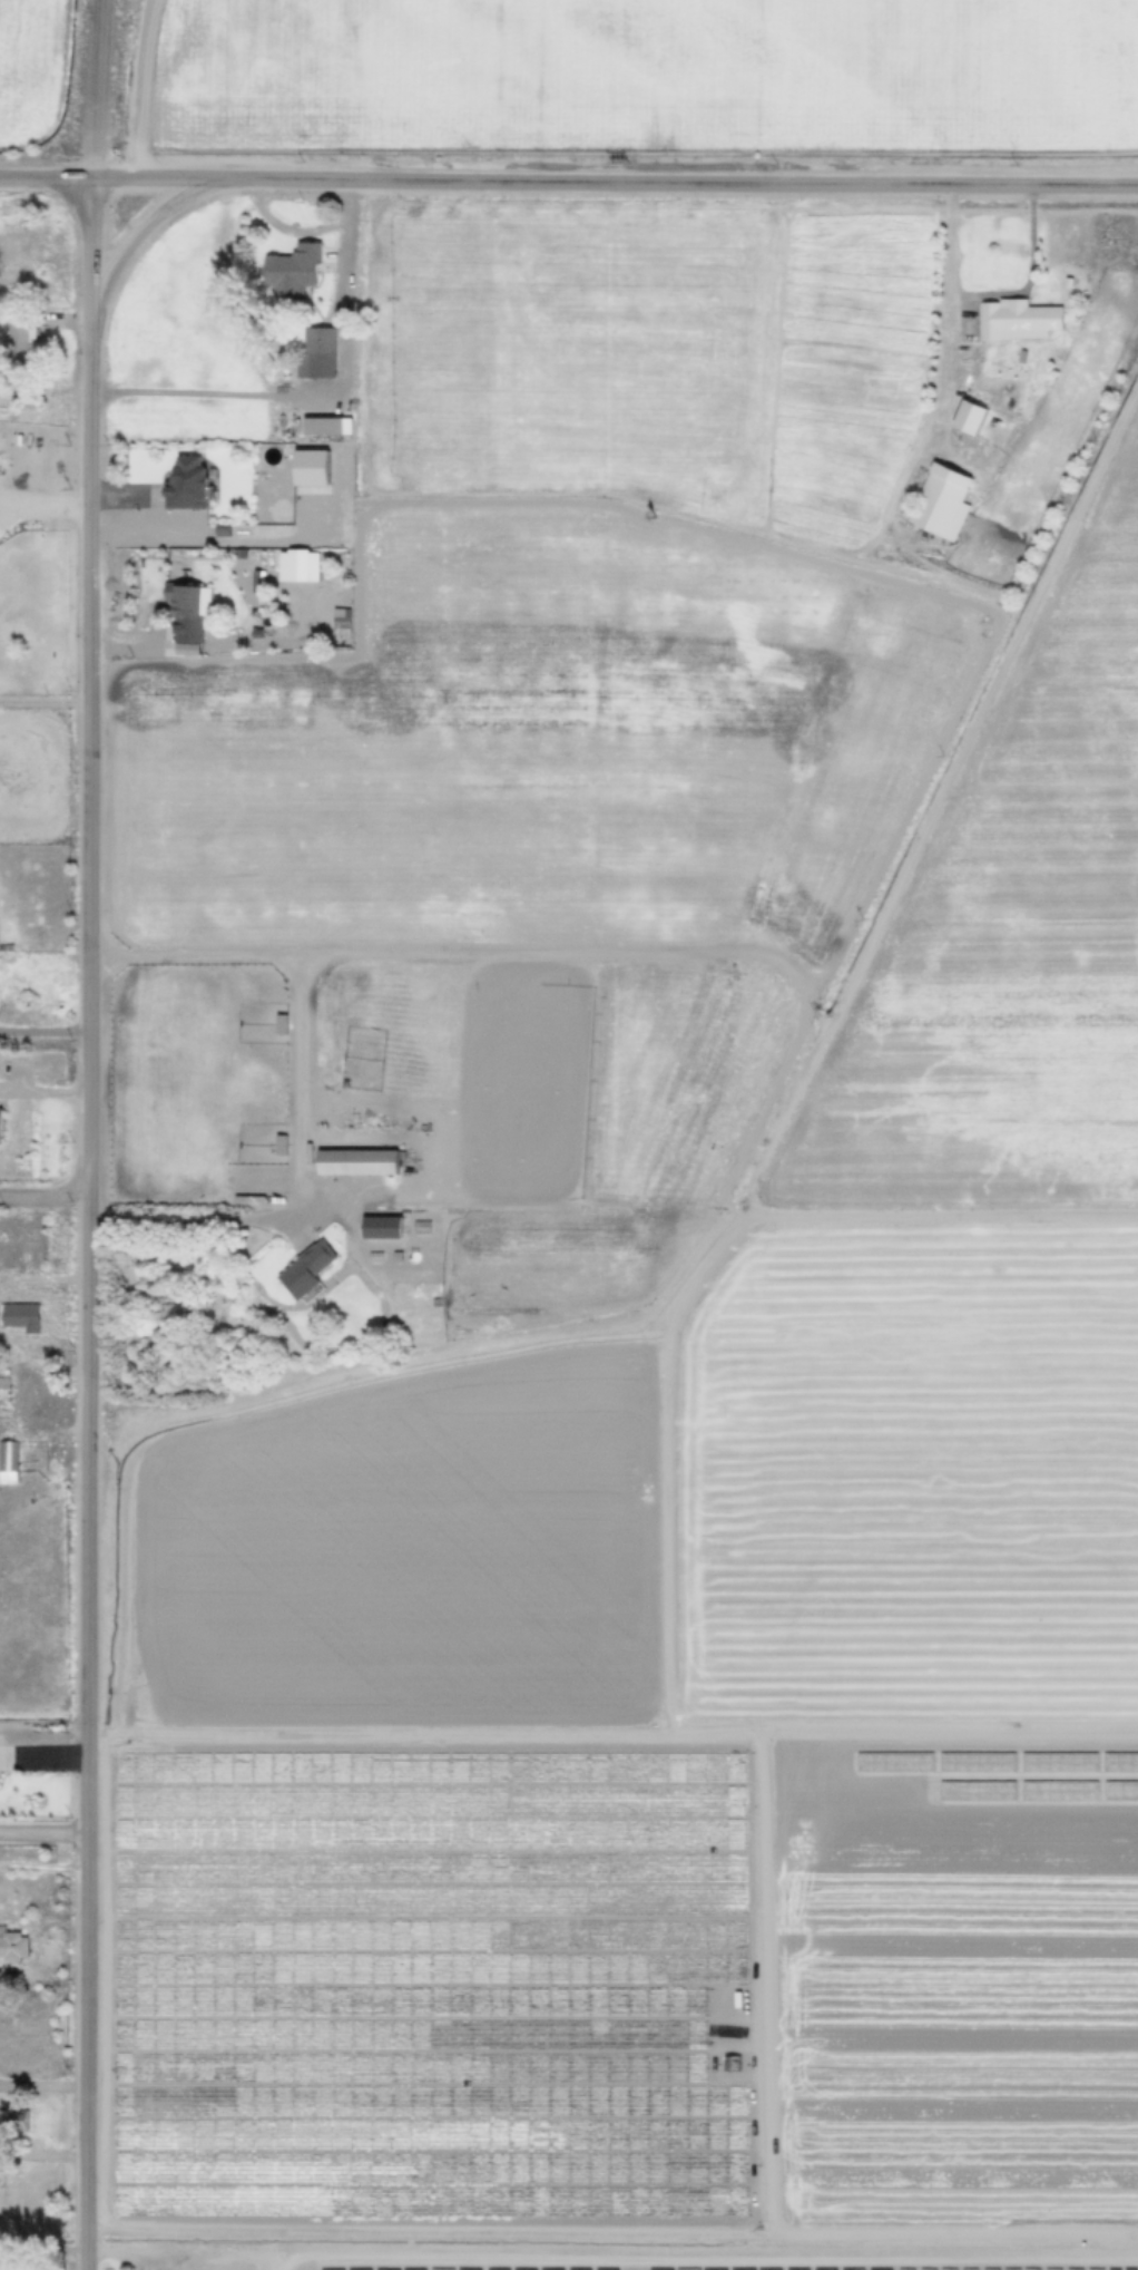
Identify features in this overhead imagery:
road: (568, 183)
road: (140, 233)
building: (291, 270)
road: (985, 295)
building: (1016, 319)
building: (17, 341)
building: (316, 351)
road: (318, 392)
building: (968, 416)
building: (185, 480)
building: (940, 500)
road: (45, 509)
building: (184, 611)
building: (340, 626)
road: (45, 707)
road: (303, 981)
road: (45, 1035)
building: (7, 1124)
road: (89, 1134)
building: (355, 1161)
road: (45, 1199)
road: (197, 1227)
building: (380, 1227)
building: (304, 1268)
building: (20, 1315)
building: (8, 1461)
road: (43, 1732)
road: (43, 1832)
road: (43, 1867)
building: (709, 1891)
building: (12, 1947)
road: (45, 2084)
building: (13, 2121)
building: (929, 2139)
road: (45, 2153)
building: (928, 2167)
building: (972, 2167)
road: (614, 2238)

